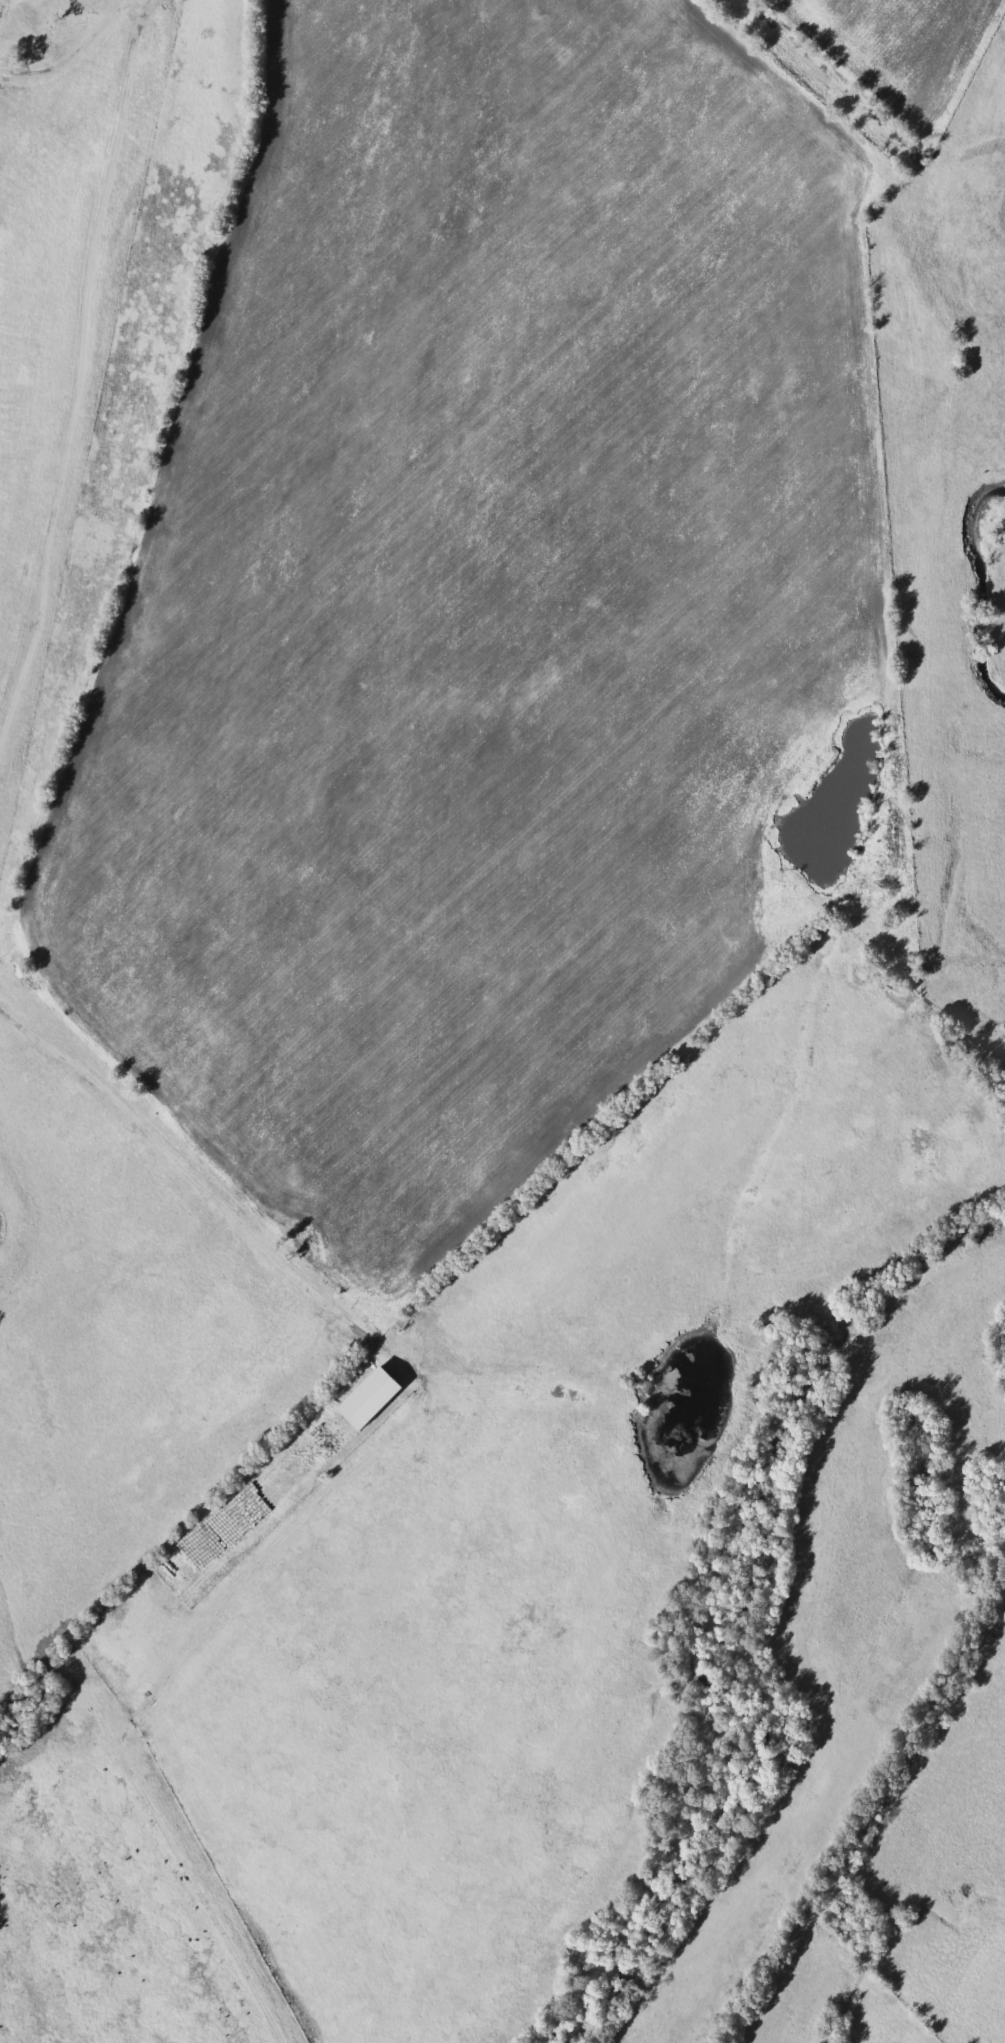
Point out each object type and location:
building: (375, 1401)

